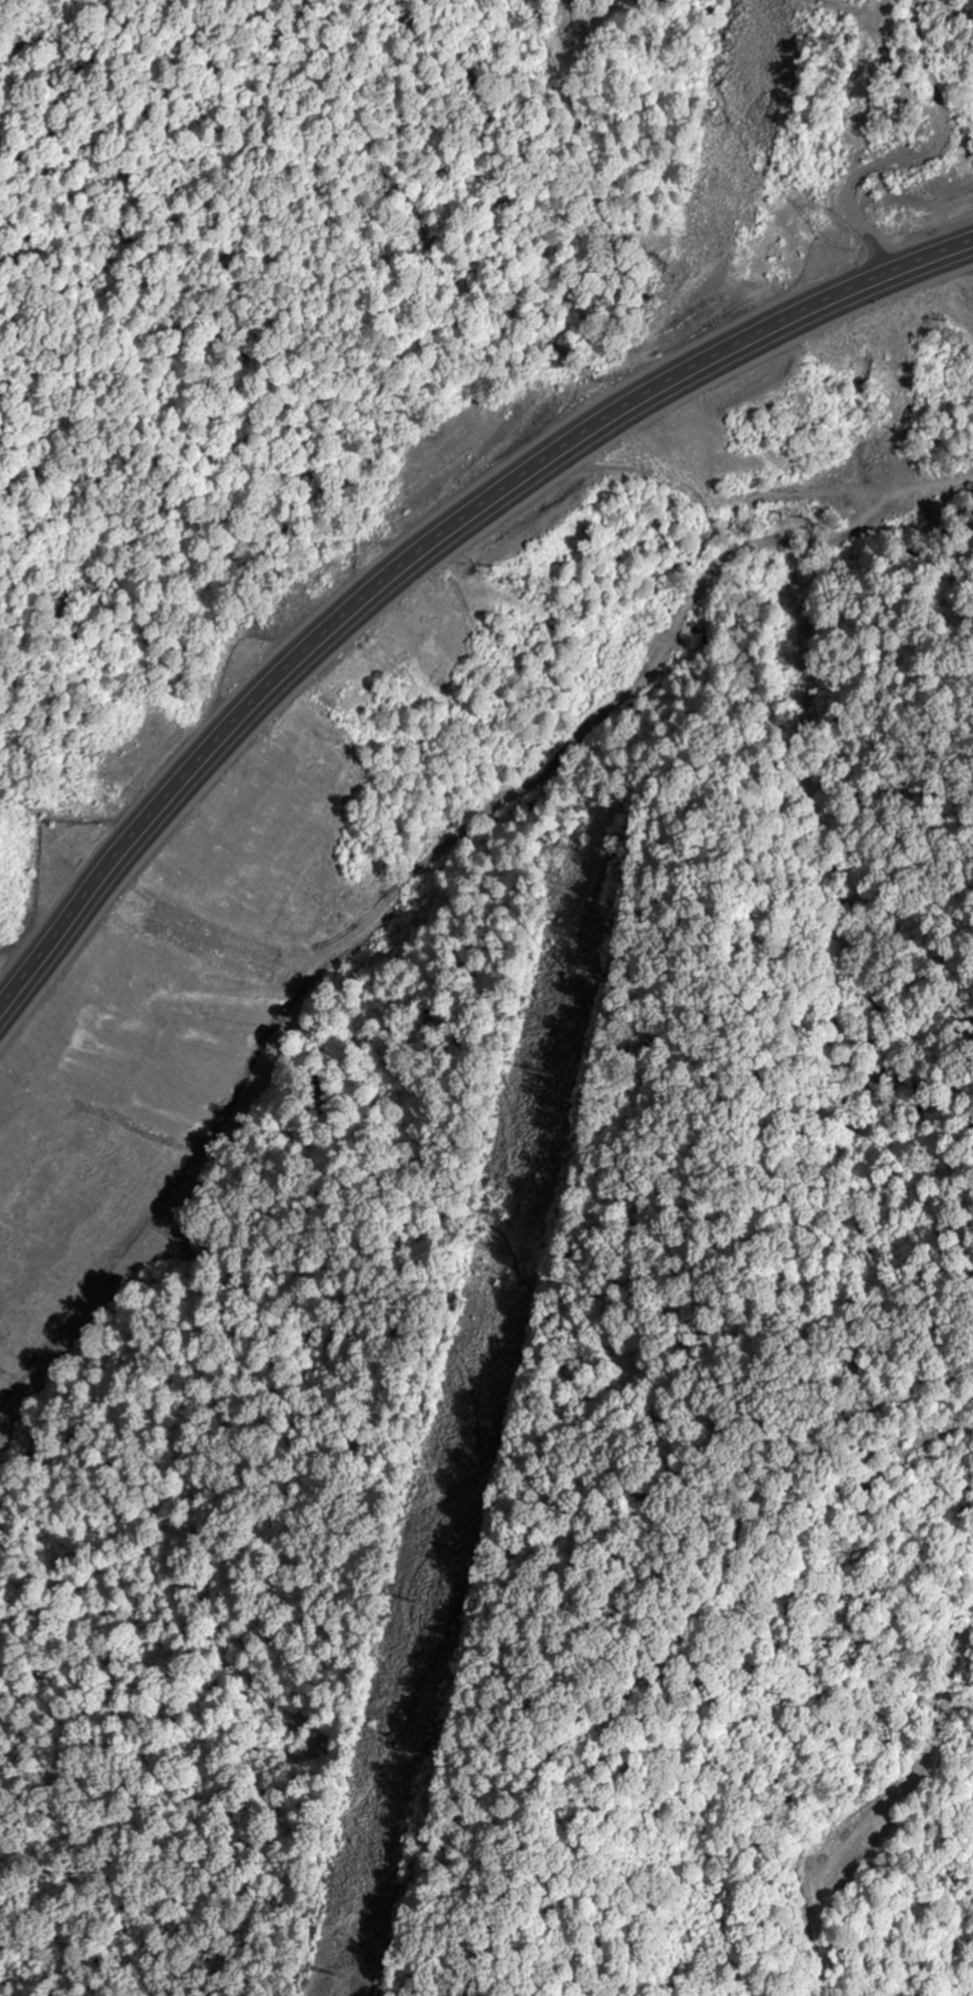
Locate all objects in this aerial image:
road: (424, 550)
road: (676, 634)

